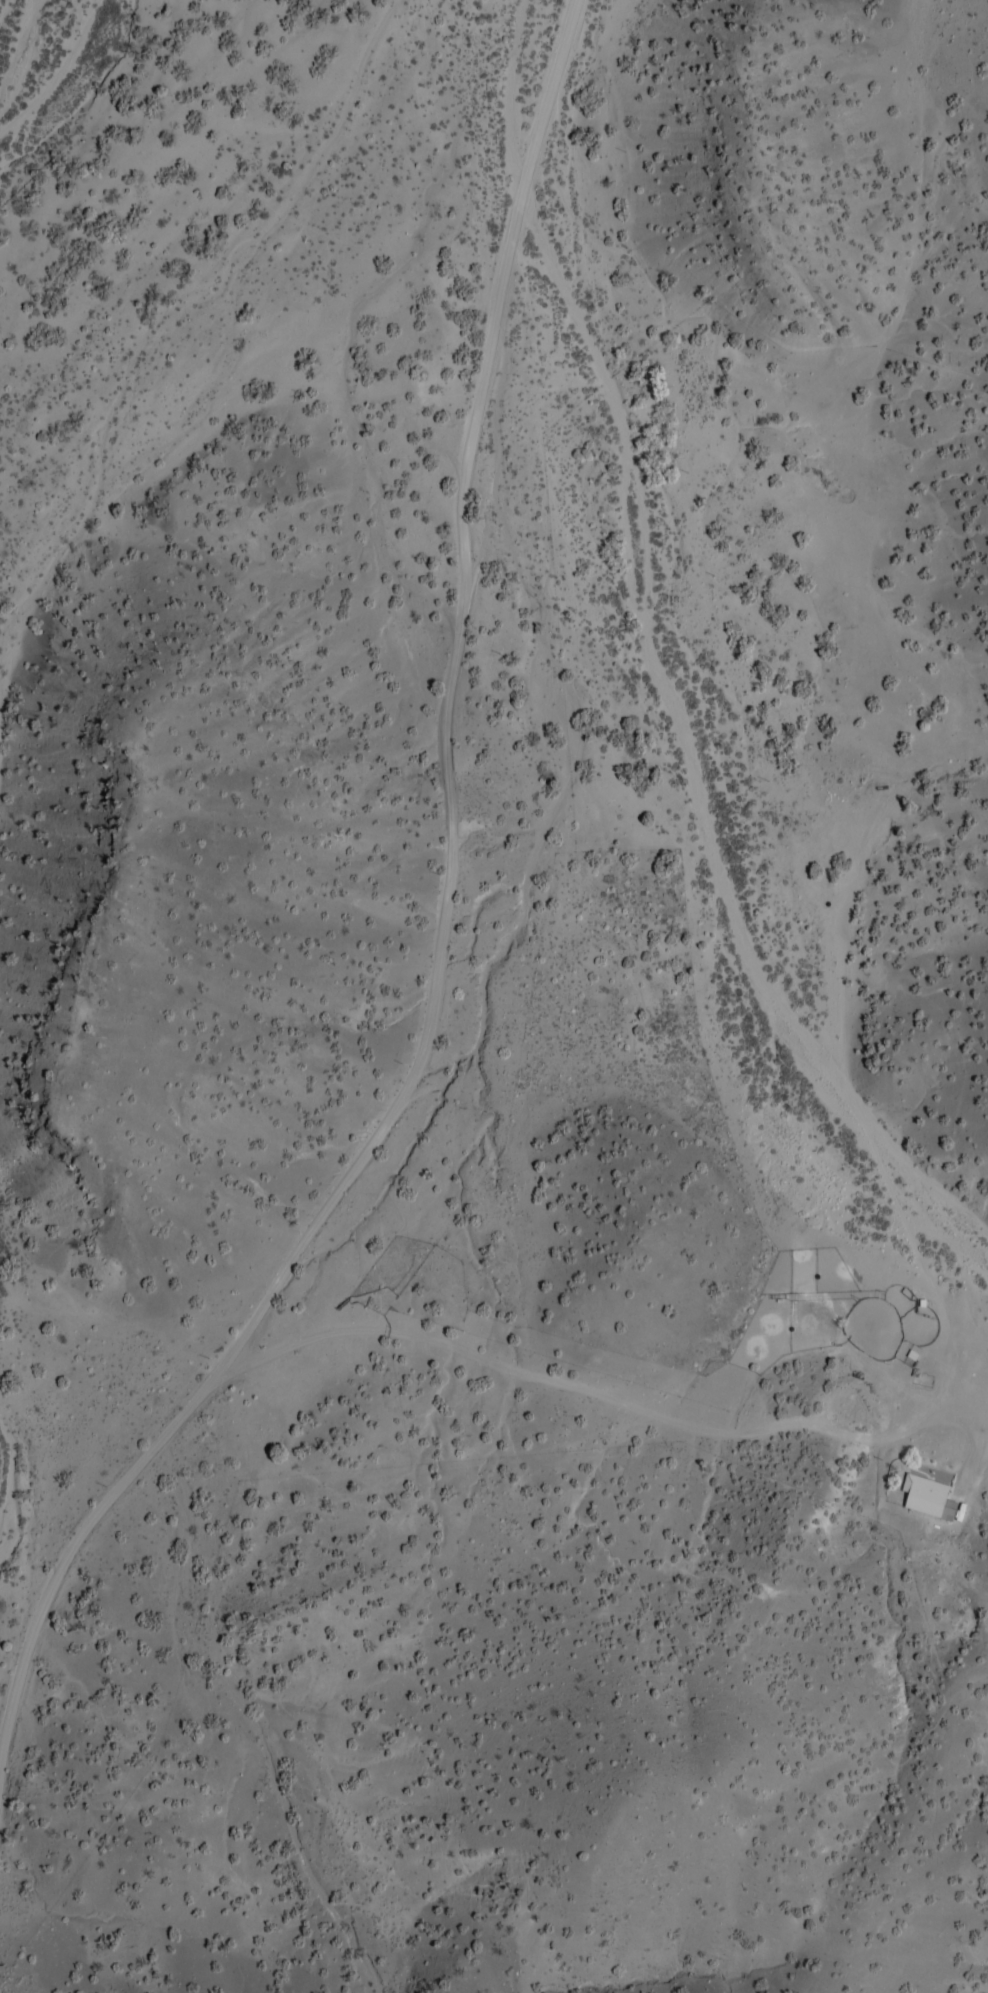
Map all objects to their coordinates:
river: (281, 261)
road: (446, 953)
road: (590, 1380)
building: (936, 1492)

